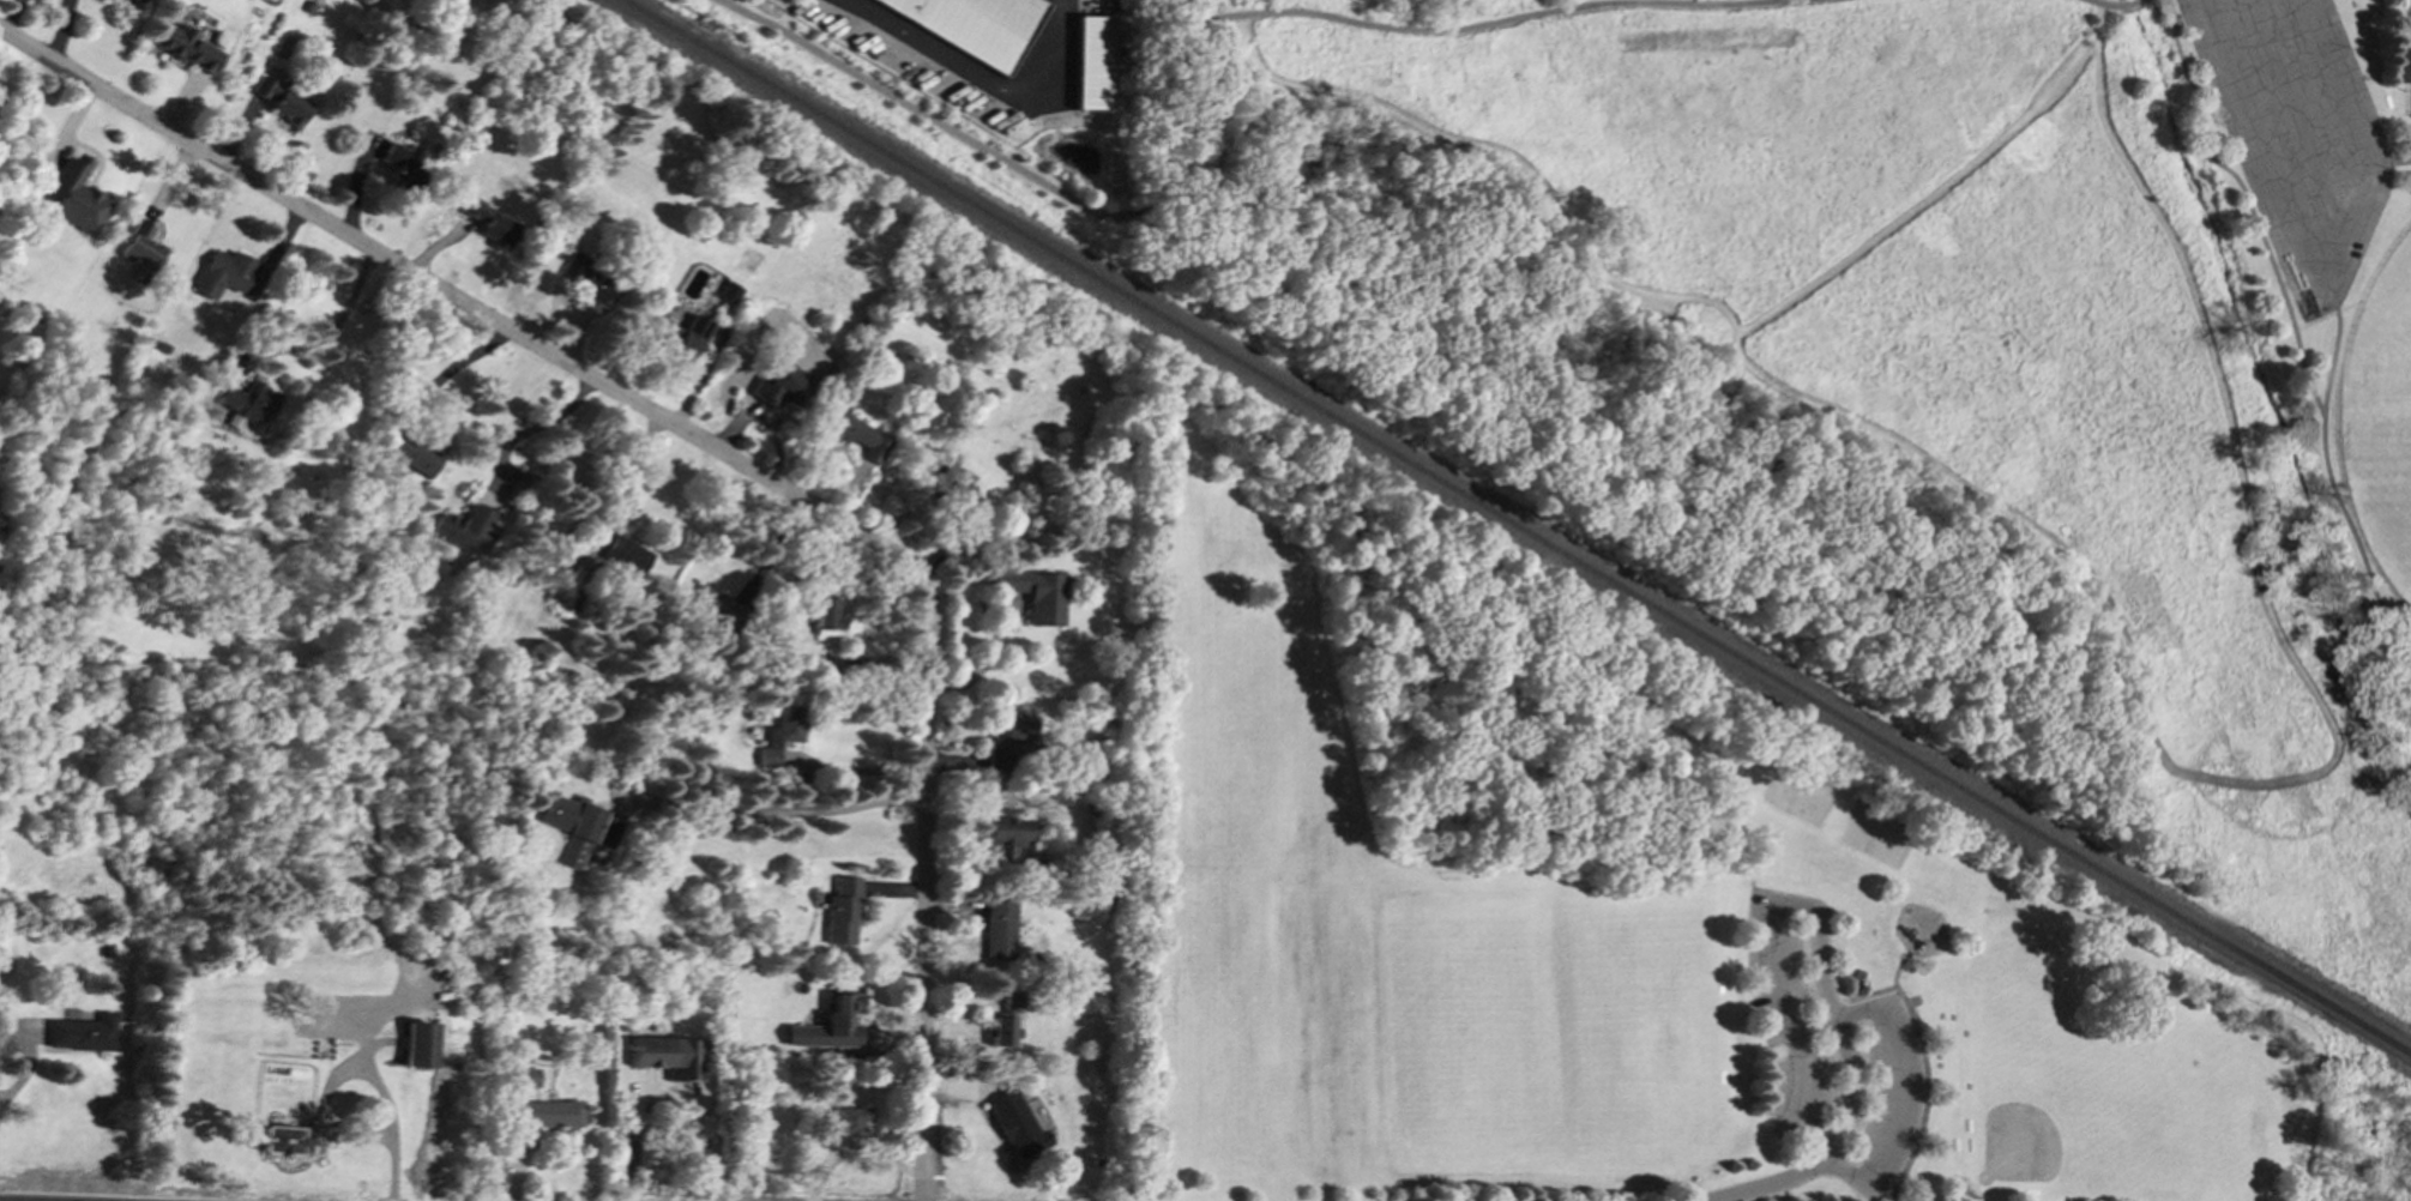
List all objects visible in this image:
building: (140, 1)
road: (1758, 1)
road: (1777, 1)
road: (2112, 6)
building: (976, 24)
road: (1388, 25)
building: (188, 48)
building: (1091, 62)
building: (2398, 64)
park: (2407, 67)
road: (971, 71)
building: (281, 101)
road: (2297, 116)
parking lot: (2295, 132)
road: (956, 133)
road: (1506, 153)
road: (2387, 158)
building: (402, 161)
road: (1924, 193)
building: (76, 195)
building: (490, 223)
building: (141, 246)
building: (223, 272)
building: (584, 277)
road: (2315, 289)
building: (729, 291)
road: (460, 302)
road: (337, 321)
road: (2291, 326)
building: (680, 334)
park: (2380, 338)
road: (2332, 350)
park: (1901, 360)
road: (450, 369)
building: (777, 390)
road: (1610, 391)
building: (248, 402)
road: (535, 428)
building: (856, 435)
building: (411, 453)
road: (2241, 484)
park: (2382, 487)
road: (1979, 496)
road: (1644, 509)
building: (464, 527)
railway: (1514, 527)
road: (592, 555)
building: (625, 556)
building: (1033, 593)
building: (567, 595)
building: (716, 609)
building: (826, 612)
road: (1482, 617)
road: (984, 663)
road: (1626, 700)
building: (782, 732)
building: (1006, 740)
park: (1795, 796)
road: (771, 811)
building: (578, 827)
park: (1871, 832)
building: (1002, 837)
road: (924, 887)
building: (842, 911)
park: (1610, 915)
building: (999, 928)
road: (1894, 980)
road: (1782, 994)
parking lot: (1785, 1019)
building: (1001, 1020)
building: (830, 1025)
building: (82, 1032)
park: (1543, 1033)
building: (418, 1043)
building: (668, 1055)
road: (26, 1060)
road: (1851, 1074)
building: (529, 1076)
road: (1803, 1080)
road: (324, 1081)
road: (671, 1091)
parking lot: (1887, 1097)
road: (1893, 1100)
park: (2041, 1116)
building: (543, 1117)
building: (848, 1121)
building: (1014, 1124)
building: (285, 1139)
road: (392, 1167)
road: (95, 1193)
road: (1873, 1193)

